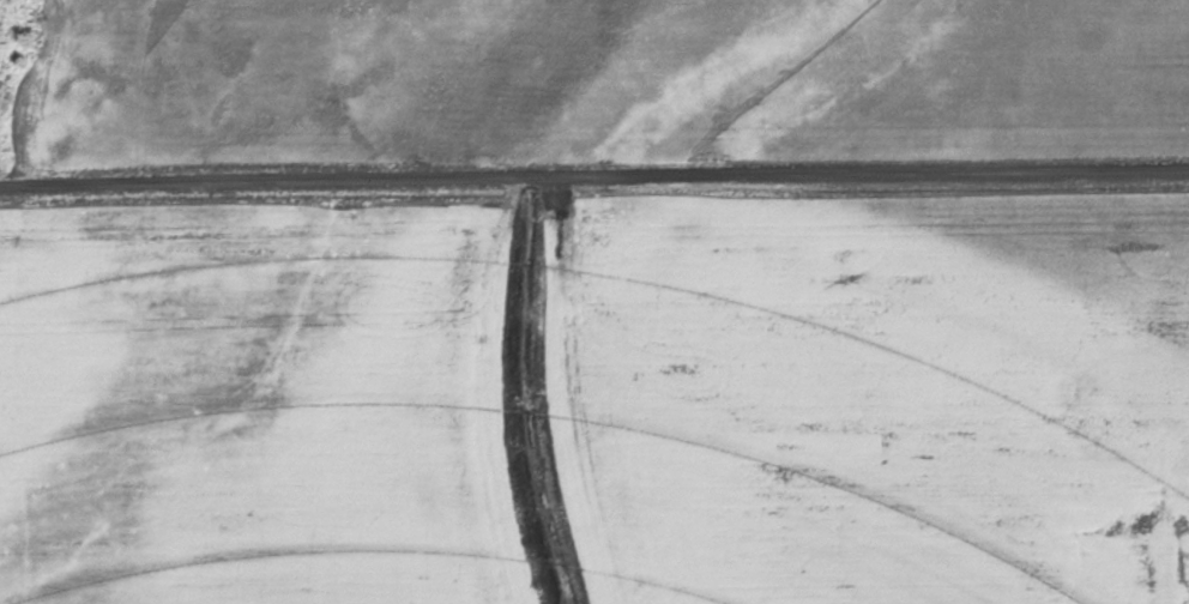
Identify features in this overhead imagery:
road: (593, 169)

